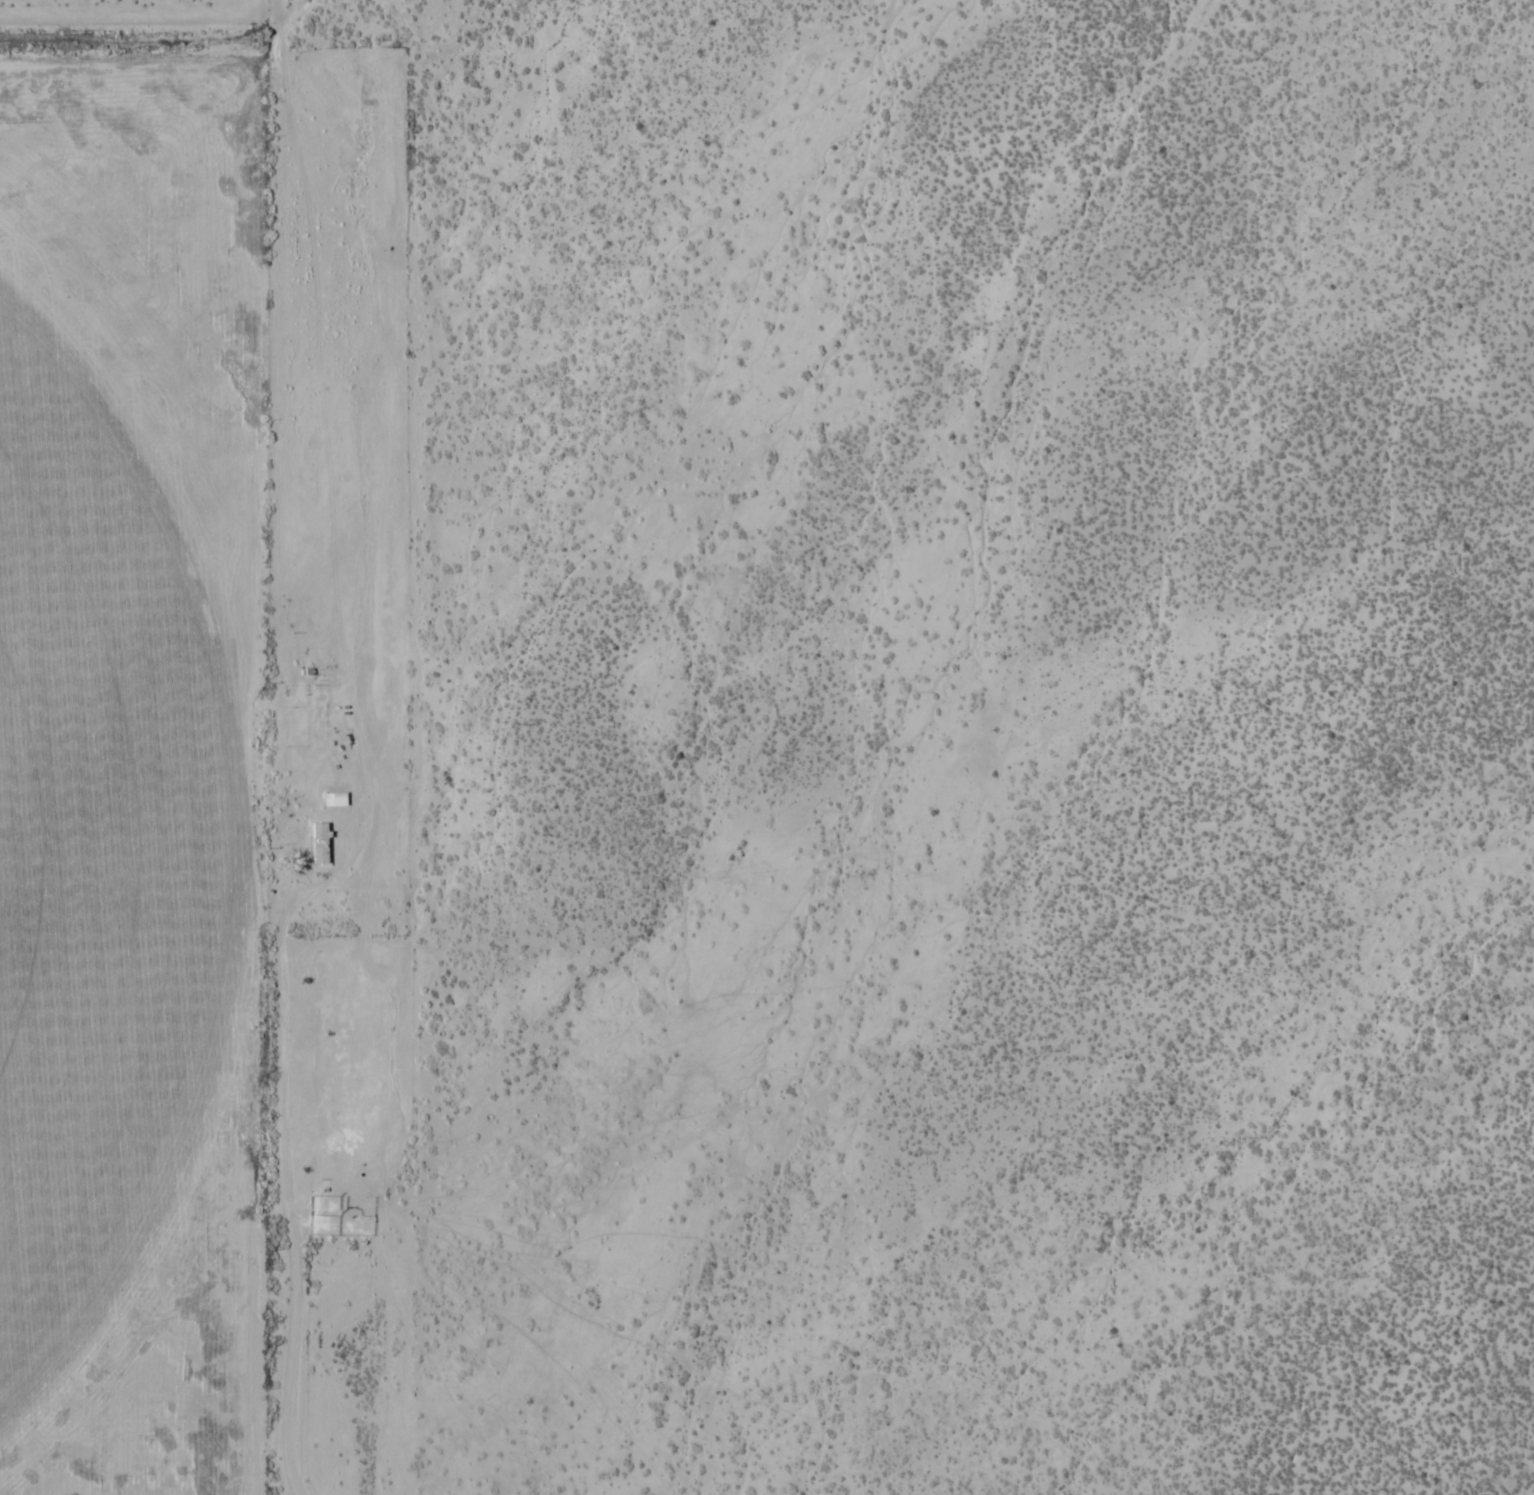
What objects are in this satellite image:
road: (821, 570)
building: (324, 851)
crop: (110, 854)
road: (346, 869)
road: (286, 1182)

